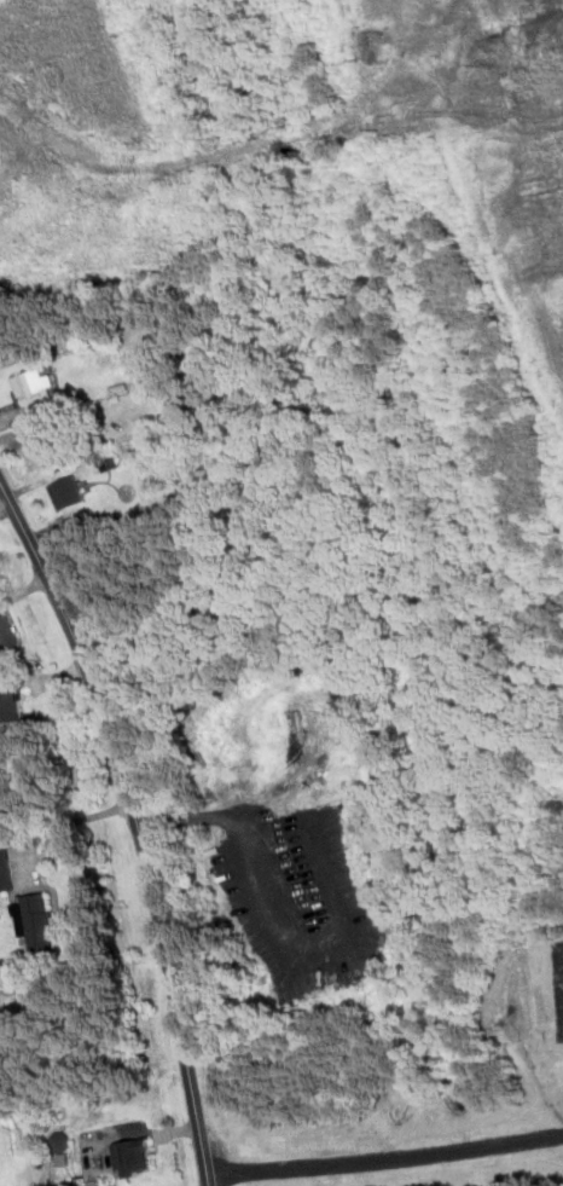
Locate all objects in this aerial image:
building: (37, 389)
building: (53, 447)
building: (68, 491)
building: (8, 631)
building: (12, 705)
road: (240, 812)
road: (70, 820)
road: (138, 822)
building: (6, 867)
building: (36, 921)
building: (62, 1140)
road: (385, 1155)
building: (135, 1156)

